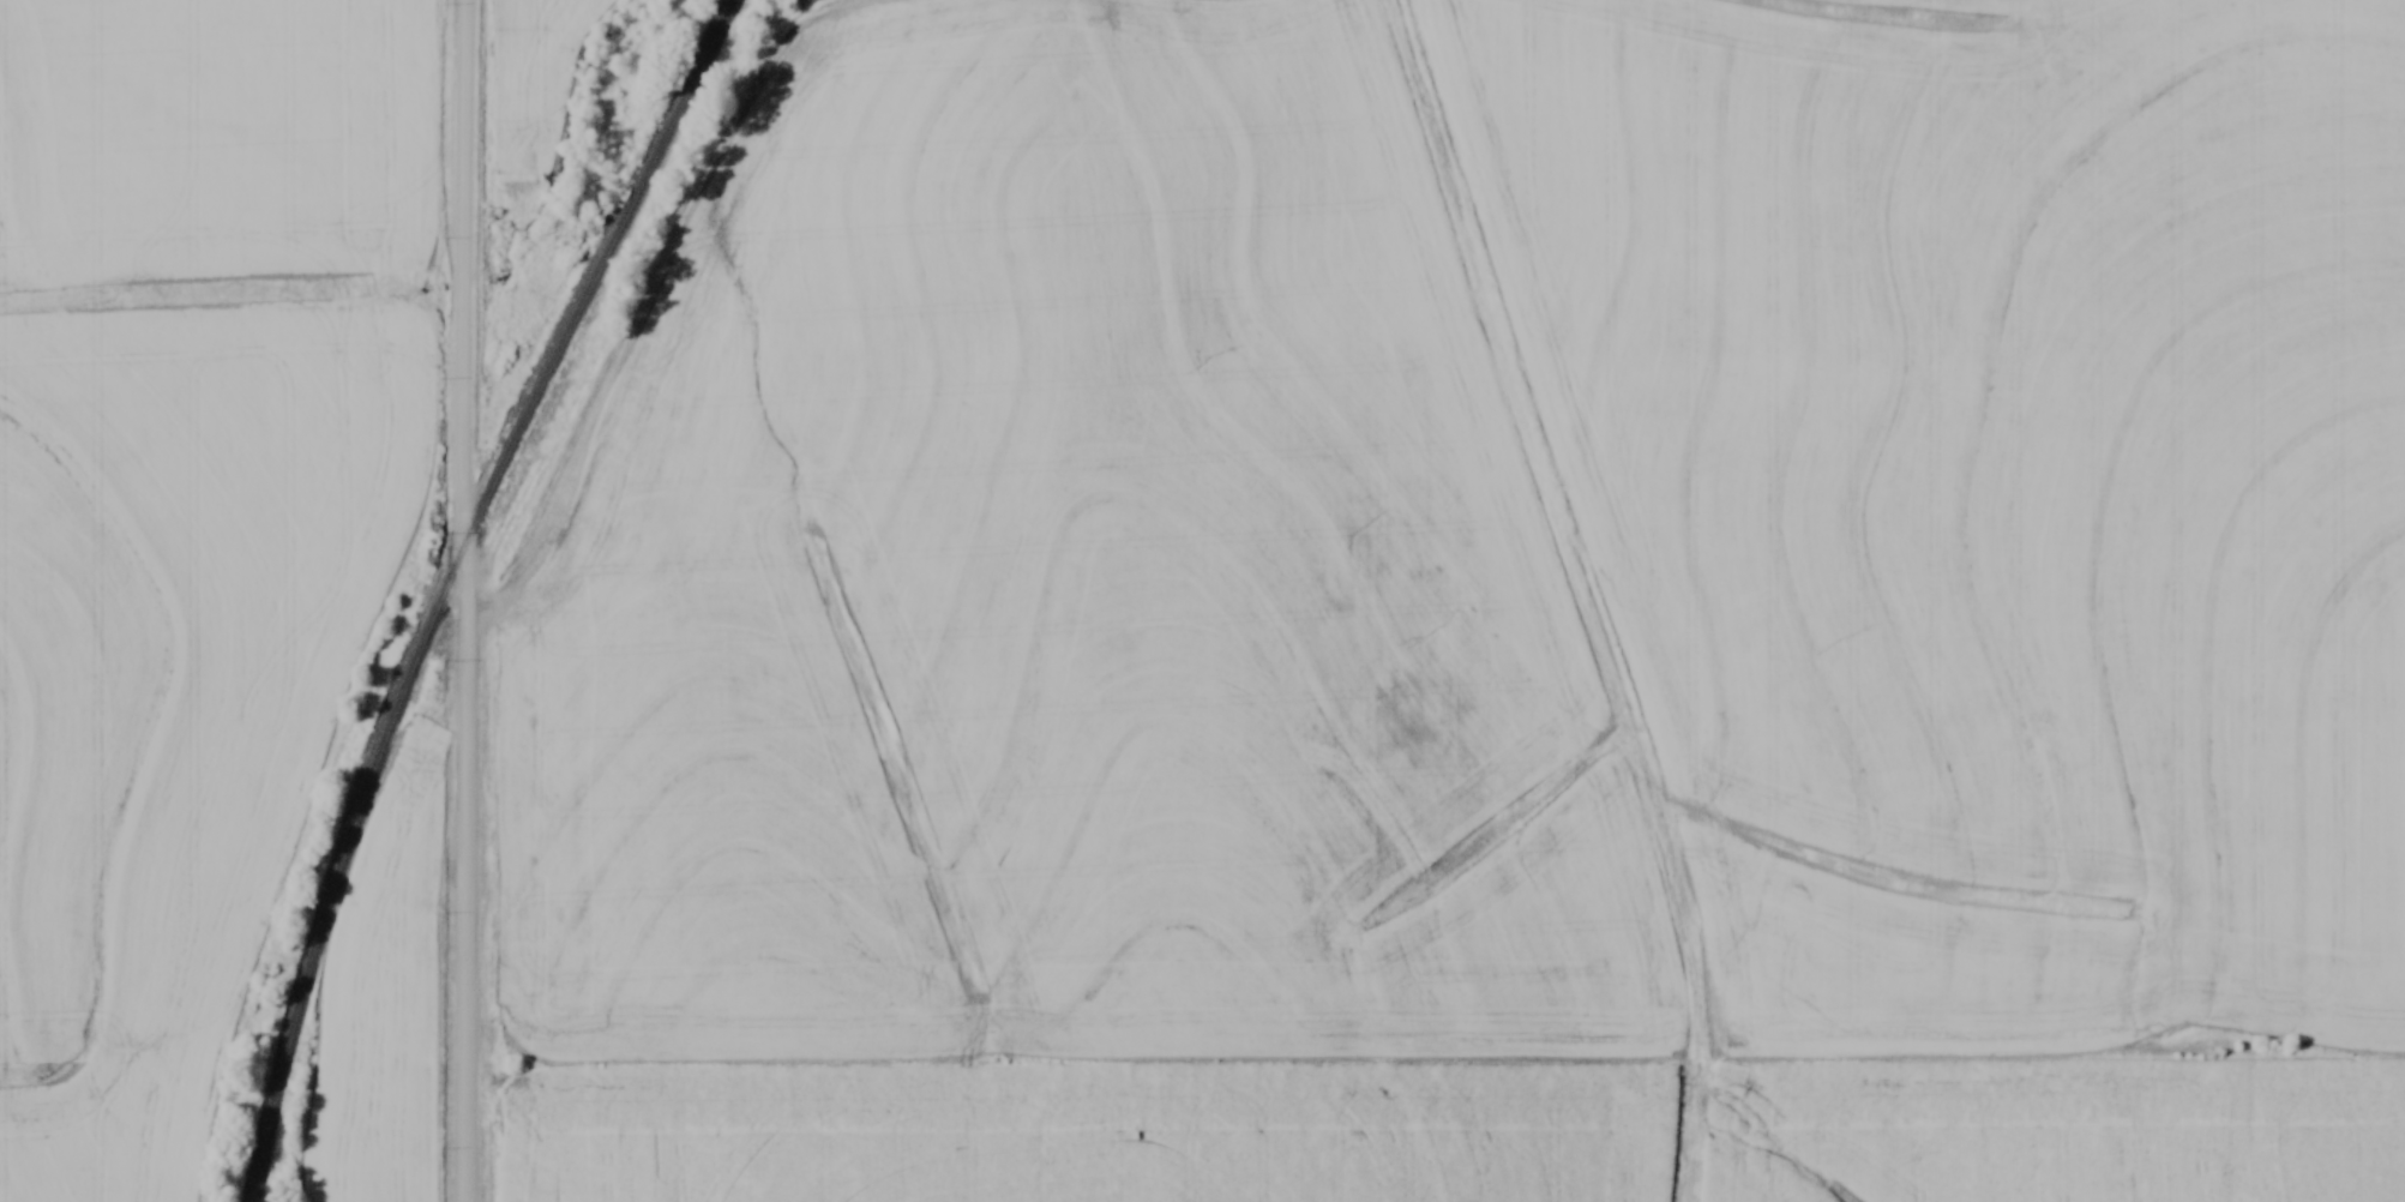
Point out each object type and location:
railway: (447, 581)
road: (463, 600)

